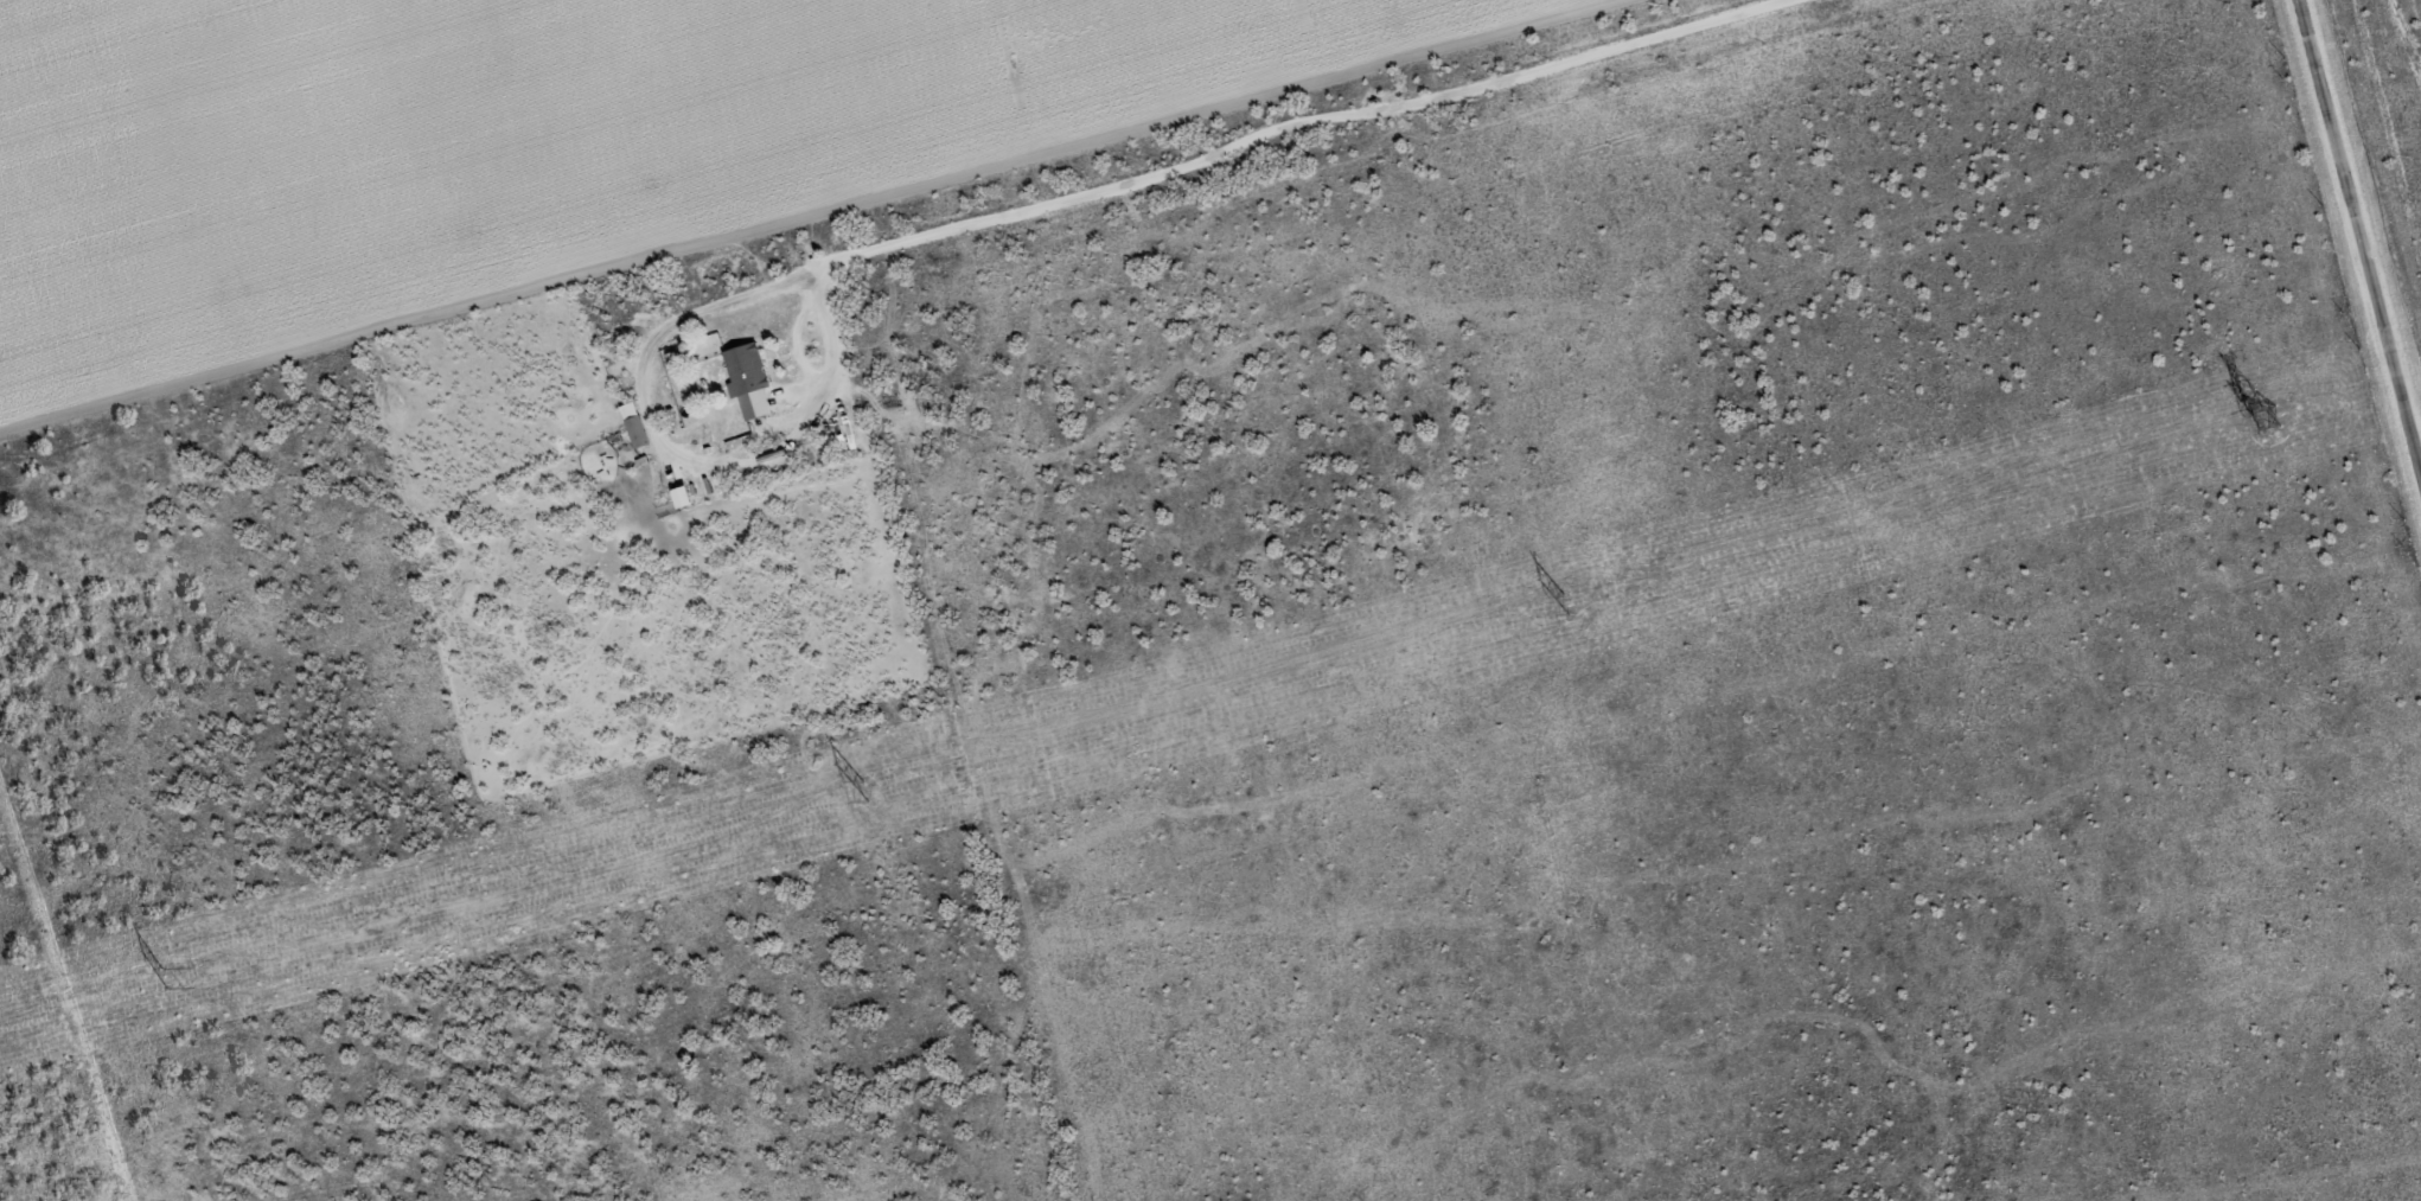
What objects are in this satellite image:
road: (2362, 231)
building: (747, 368)
power tower: (2261, 419)
building: (635, 423)
building: (701, 442)
building: (683, 497)
power tower: (1569, 605)
power tower: (865, 790)
power tower: (165, 979)

